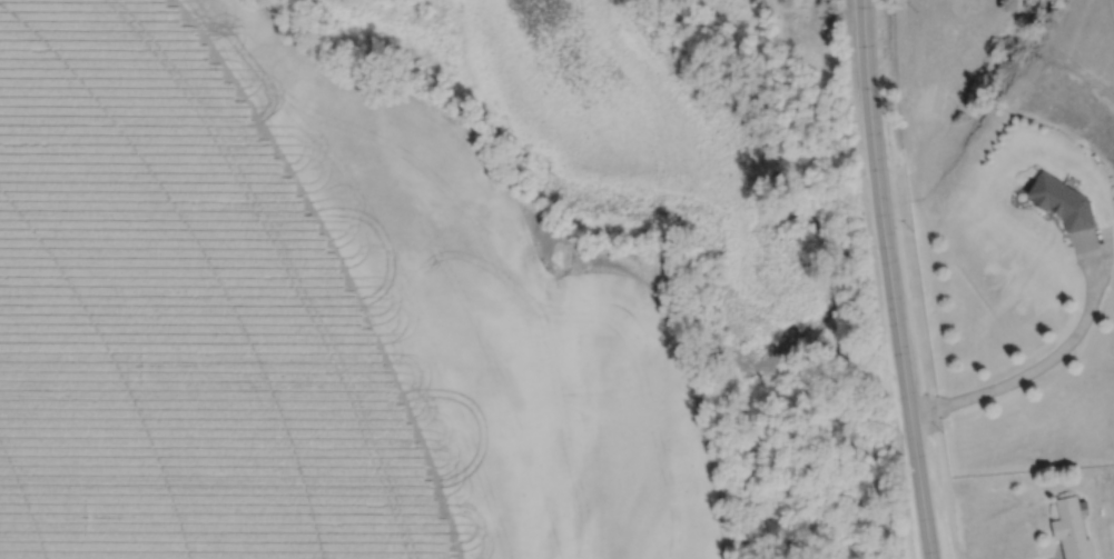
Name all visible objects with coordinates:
building: (1059, 200)
road: (894, 279)
road: (1044, 363)
building: (1071, 529)

